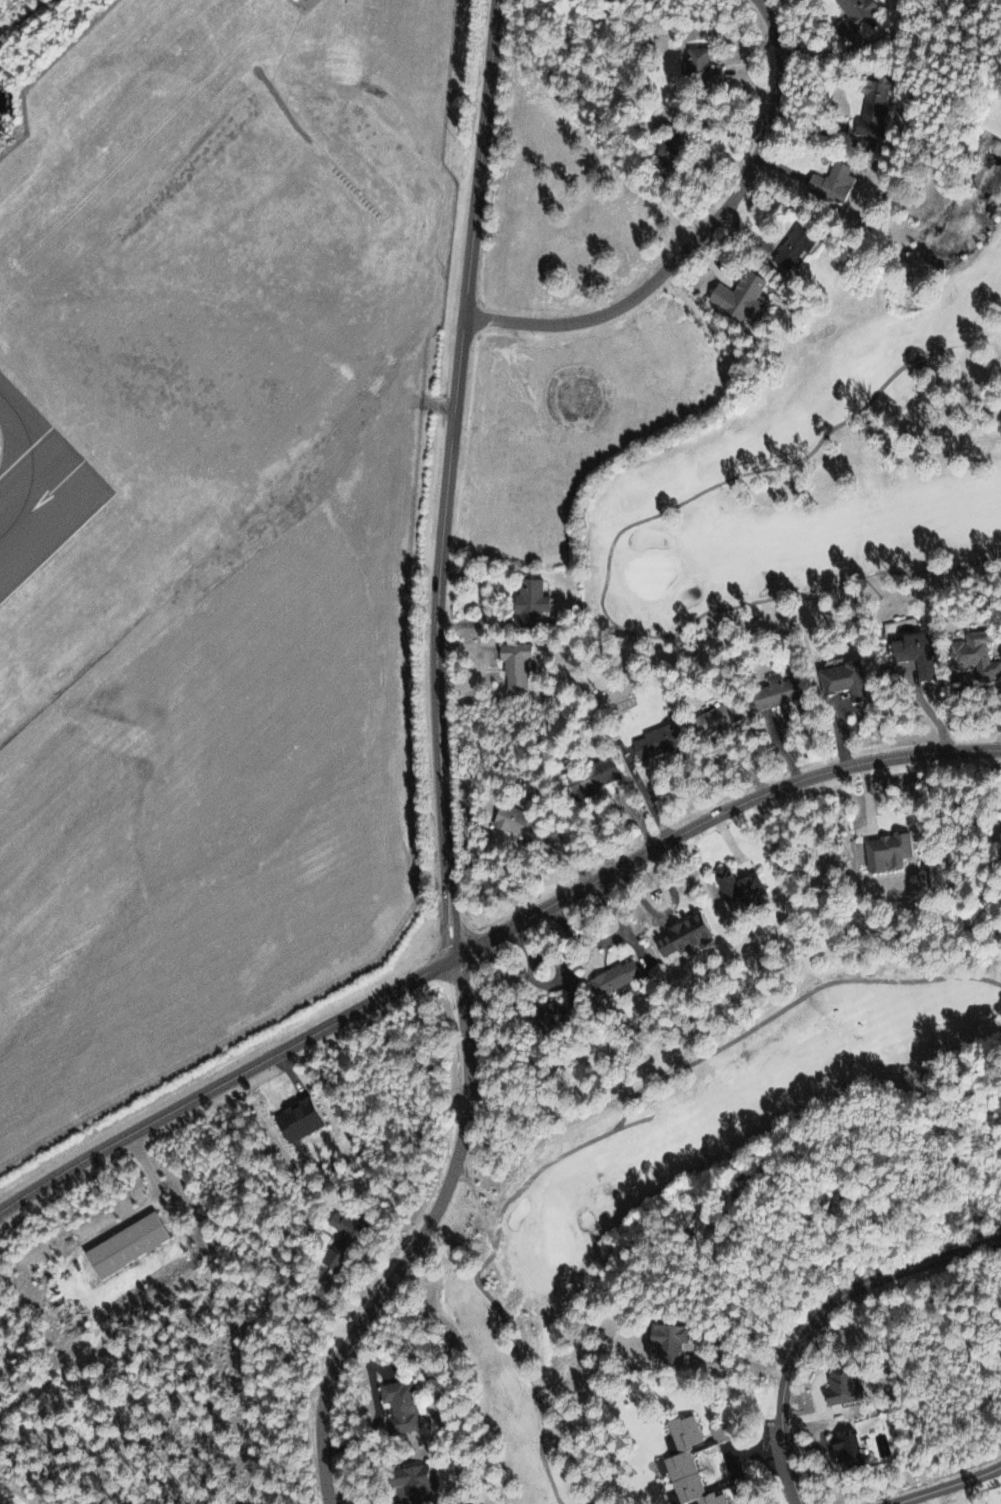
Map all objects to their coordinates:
building: (855, 16)
building: (697, 67)
building: (870, 106)
building: (666, 147)
building: (829, 182)
road: (700, 238)
building: (790, 248)
building: (736, 294)
park: (822, 452)
airport taxiway: (30, 463)
road: (447, 479)
airport: (207, 532)
road: (607, 560)
park: (649, 575)
building: (528, 602)
building: (914, 653)
building: (973, 655)
building: (513, 666)
building: (842, 679)
building: (772, 692)
building: (713, 718)
building: (654, 741)
building: (589, 777)
building: (512, 823)
building: (735, 889)
building: (681, 934)
road: (486, 941)
building: (611, 977)
building: (546, 1017)
building: (296, 1117)
park: (677, 1167)
road: (420, 1241)
building: (122, 1243)
building: (339, 1245)
road: (114, 1284)
road: (817, 1317)
building: (665, 1340)
road: (716, 1340)
building: (836, 1385)
building: (396, 1406)
building: (844, 1449)
building: (685, 1463)
building: (409, 1482)
road: (954, 1487)

